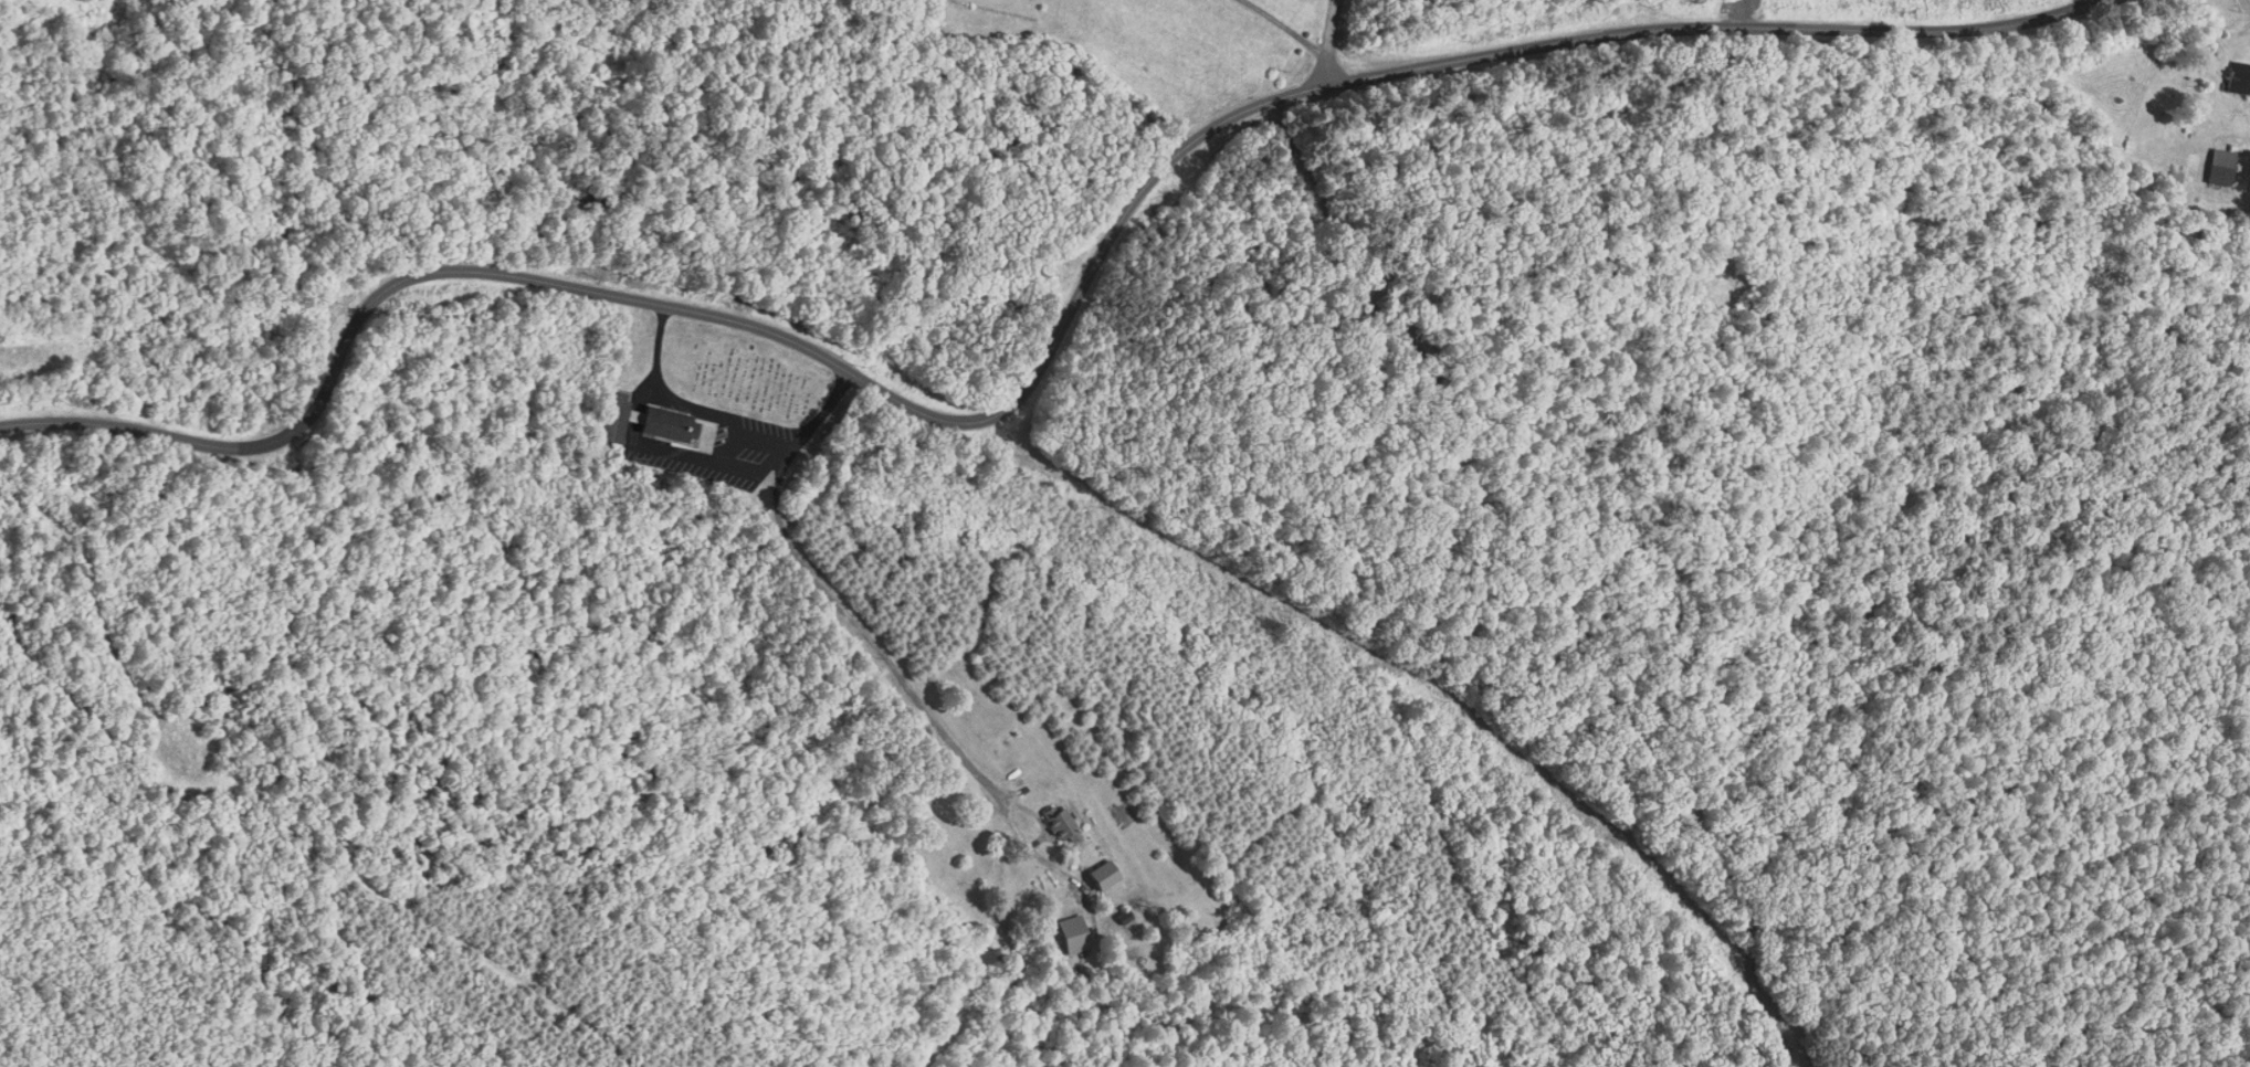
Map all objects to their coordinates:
road: (2248, 2)
road: (1284, 25)
road: (1328, 43)
building: (2238, 78)
building: (2220, 167)
road: (1041, 360)
park: (743, 371)
building: (614, 421)
building: (669, 425)
road: (730, 427)
road: (1533, 577)
road: (914, 697)
building: (1060, 824)
building: (1102, 874)
building: (1072, 941)

